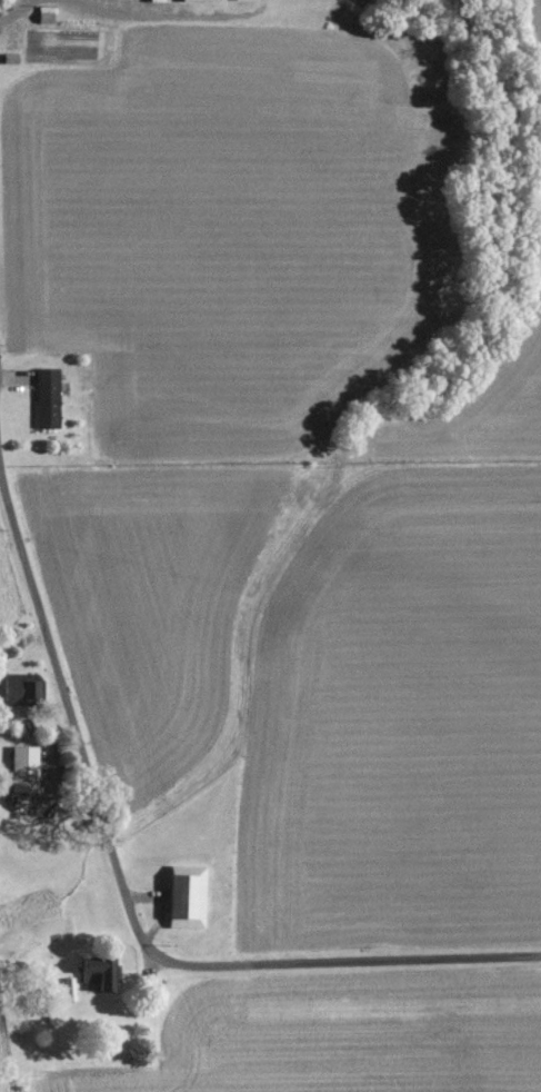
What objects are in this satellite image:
building: (159, 0)
building: (200, 0)
building: (237, 0)
road: (18, 11)
building: (46, 14)
road: (156, 16)
building: (48, 398)
building: (21, 691)
building: (23, 770)
road: (117, 874)
building: (187, 897)
building: (99, 973)
building: (68, 990)

